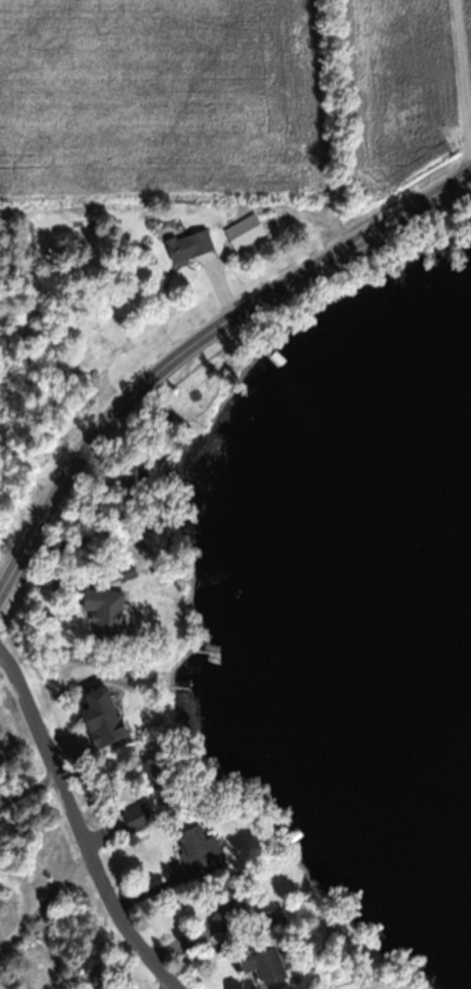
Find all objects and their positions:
building: (244, 230)
building: (189, 244)
road: (197, 343)
building: (126, 569)
building: (105, 610)
building: (103, 716)
building: (159, 775)
road: (30, 786)
building: (137, 816)
road: (81, 823)
building: (197, 848)
road: (44, 894)
building: (232, 902)
building: (264, 963)

